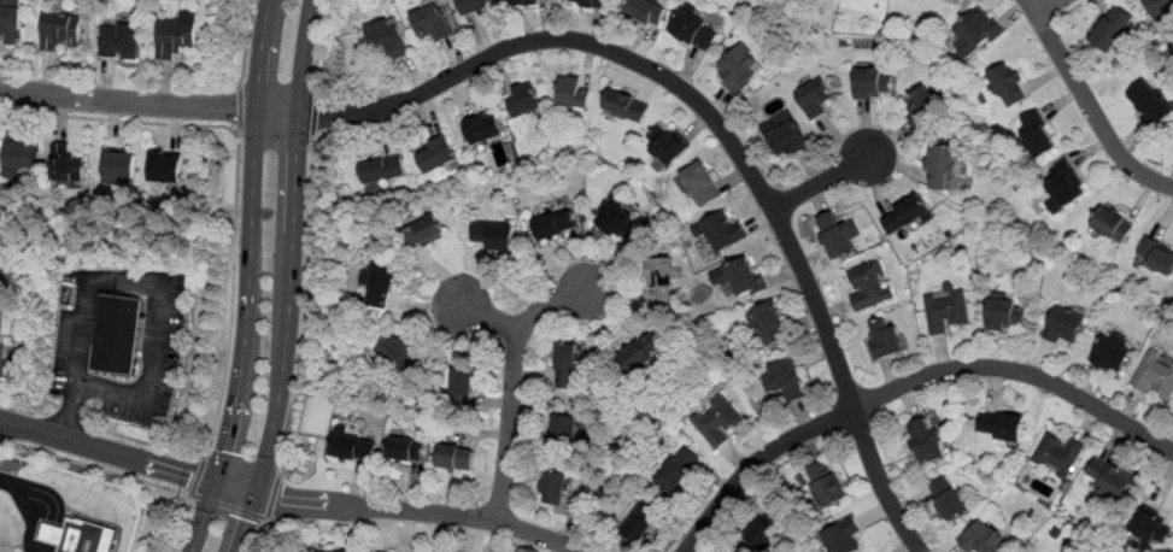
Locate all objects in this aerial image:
building: (522, 1)
building: (593, 2)
road: (1044, 5)
building: (476, 6)
building: (1160, 7)
building: (647, 12)
building: (433, 22)
building: (11, 23)
building: (1113, 28)
building: (696, 31)
building: (60, 33)
building: (975, 34)
building: (177, 36)
building: (387, 41)
building: (121, 42)
road: (246, 43)
road: (319, 45)
building: (739, 70)
building: (872, 82)
building: (1008, 87)
building: (573, 93)
building: (815, 99)
road: (129, 100)
building: (523, 101)
road: (1090, 104)
building: (1150, 104)
building: (626, 107)
road: (239, 108)
building: (923, 108)
road: (313, 113)
road: (708, 113)
road: (119, 119)
building: (483, 129)
building: (784, 135)
building: (1038, 135)
building: (670, 146)
building: (19, 153)
building: (435, 155)
building: (65, 164)
building: (118, 165)
building: (166, 166)
building: (942, 166)
building: (383, 168)
road: (825, 181)
building: (703, 186)
building: (1063, 186)
building: (907, 216)
building: (622, 224)
building: (555, 225)
building: (1113, 225)
building: (424, 231)
building: (721, 231)
building: (493, 235)
building: (837, 236)
building: (1155, 256)
building: (746, 277)
road: (253, 278)
road: (294, 280)
building: (662, 282)
building: (380, 284)
building: (868, 284)
park: (0, 290)
road: (166, 294)
road: (231, 296)
road: (305, 307)
building: (946, 311)
building: (1005, 315)
road: (528, 322)
building: (768, 325)
building: (1063, 325)
building: (123, 336)
building: (884, 339)
building: (641, 353)
parking lot: (1, 356)
building: (398, 356)
building: (1113, 356)
building: (569, 366)
building: (1156, 376)
building: (785, 381)
building: (462, 382)
road: (908, 382)
parking lot: (7, 386)
road: (24, 406)
road: (71, 411)
road: (65, 419)
building: (716, 422)
building: (1001, 427)
road: (508, 428)
building: (567, 430)
road: (1, 440)
road: (142, 441)
building: (925, 441)
building: (353, 447)
building: (405, 450)
road: (108, 451)
traffic signals: (228, 451)
building: (1057, 454)
building: (456, 458)
road: (96, 466)
building: (678, 470)
traffic signals: (192, 475)
road: (198, 475)
building: (1108, 478)
building: (826, 485)
building: (555, 488)
road: (272, 497)
traffic signals: (281, 498)
building: (946, 499)
road: (49, 500)
road: (228, 506)
road: (403, 510)
traffic signals: (248, 519)
road: (183, 523)
building: (639, 523)
building: (766, 528)
building: (1150, 528)
building: (54, 535)
road: (260, 535)
building: (89, 538)
building: (841, 538)
building: (984, 539)
road: (0, 551)
building: (338, 551)

